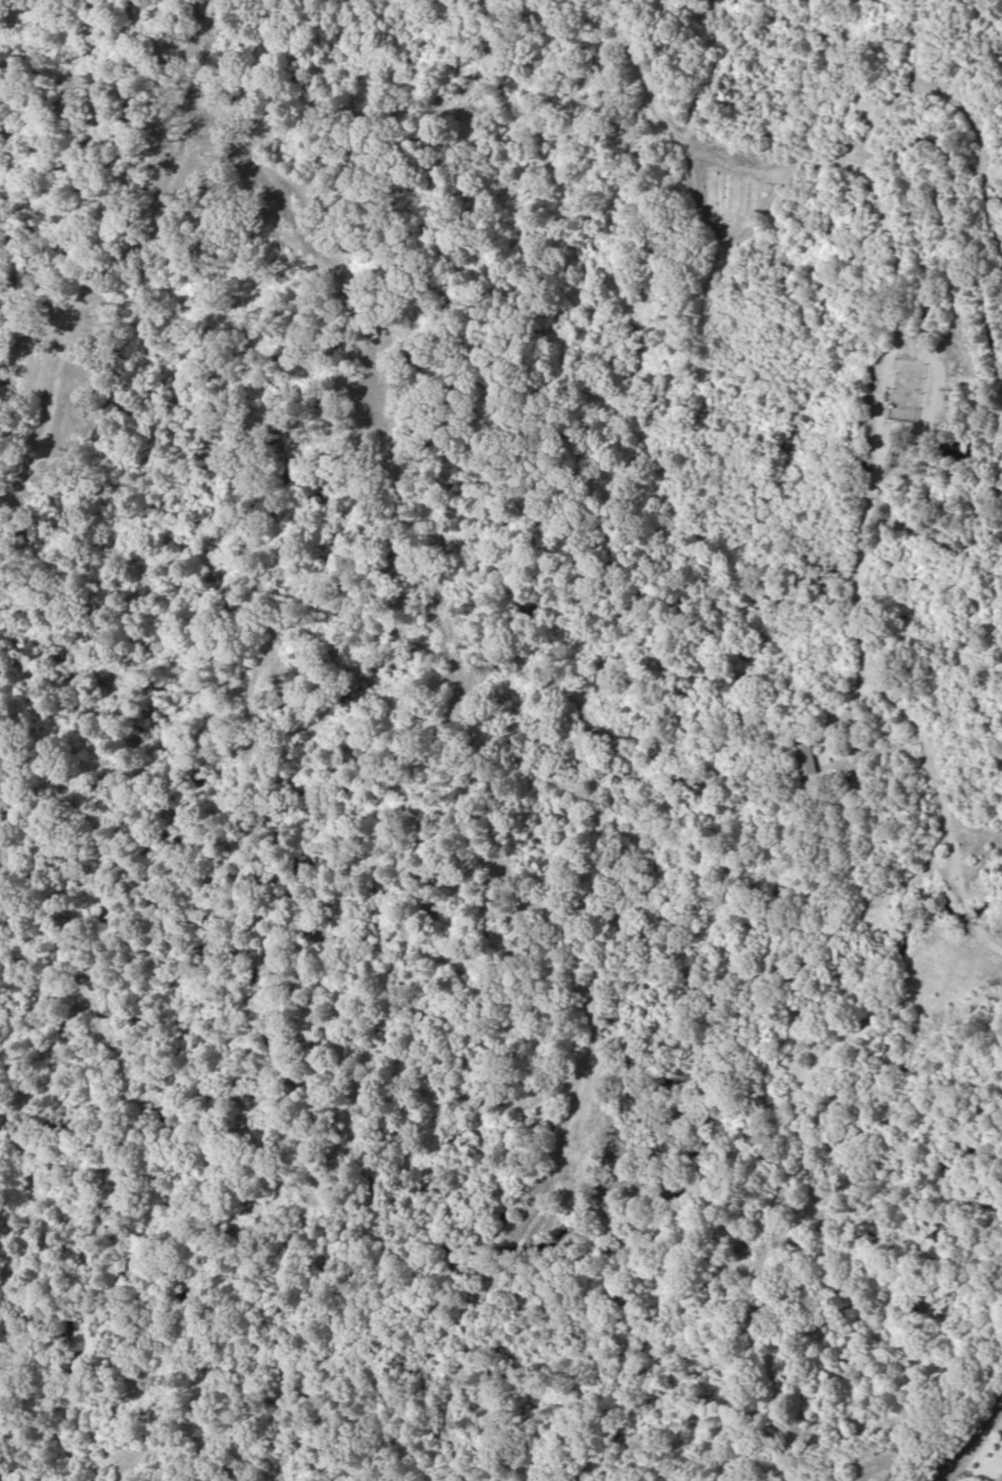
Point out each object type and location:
road: (938, 1414)

